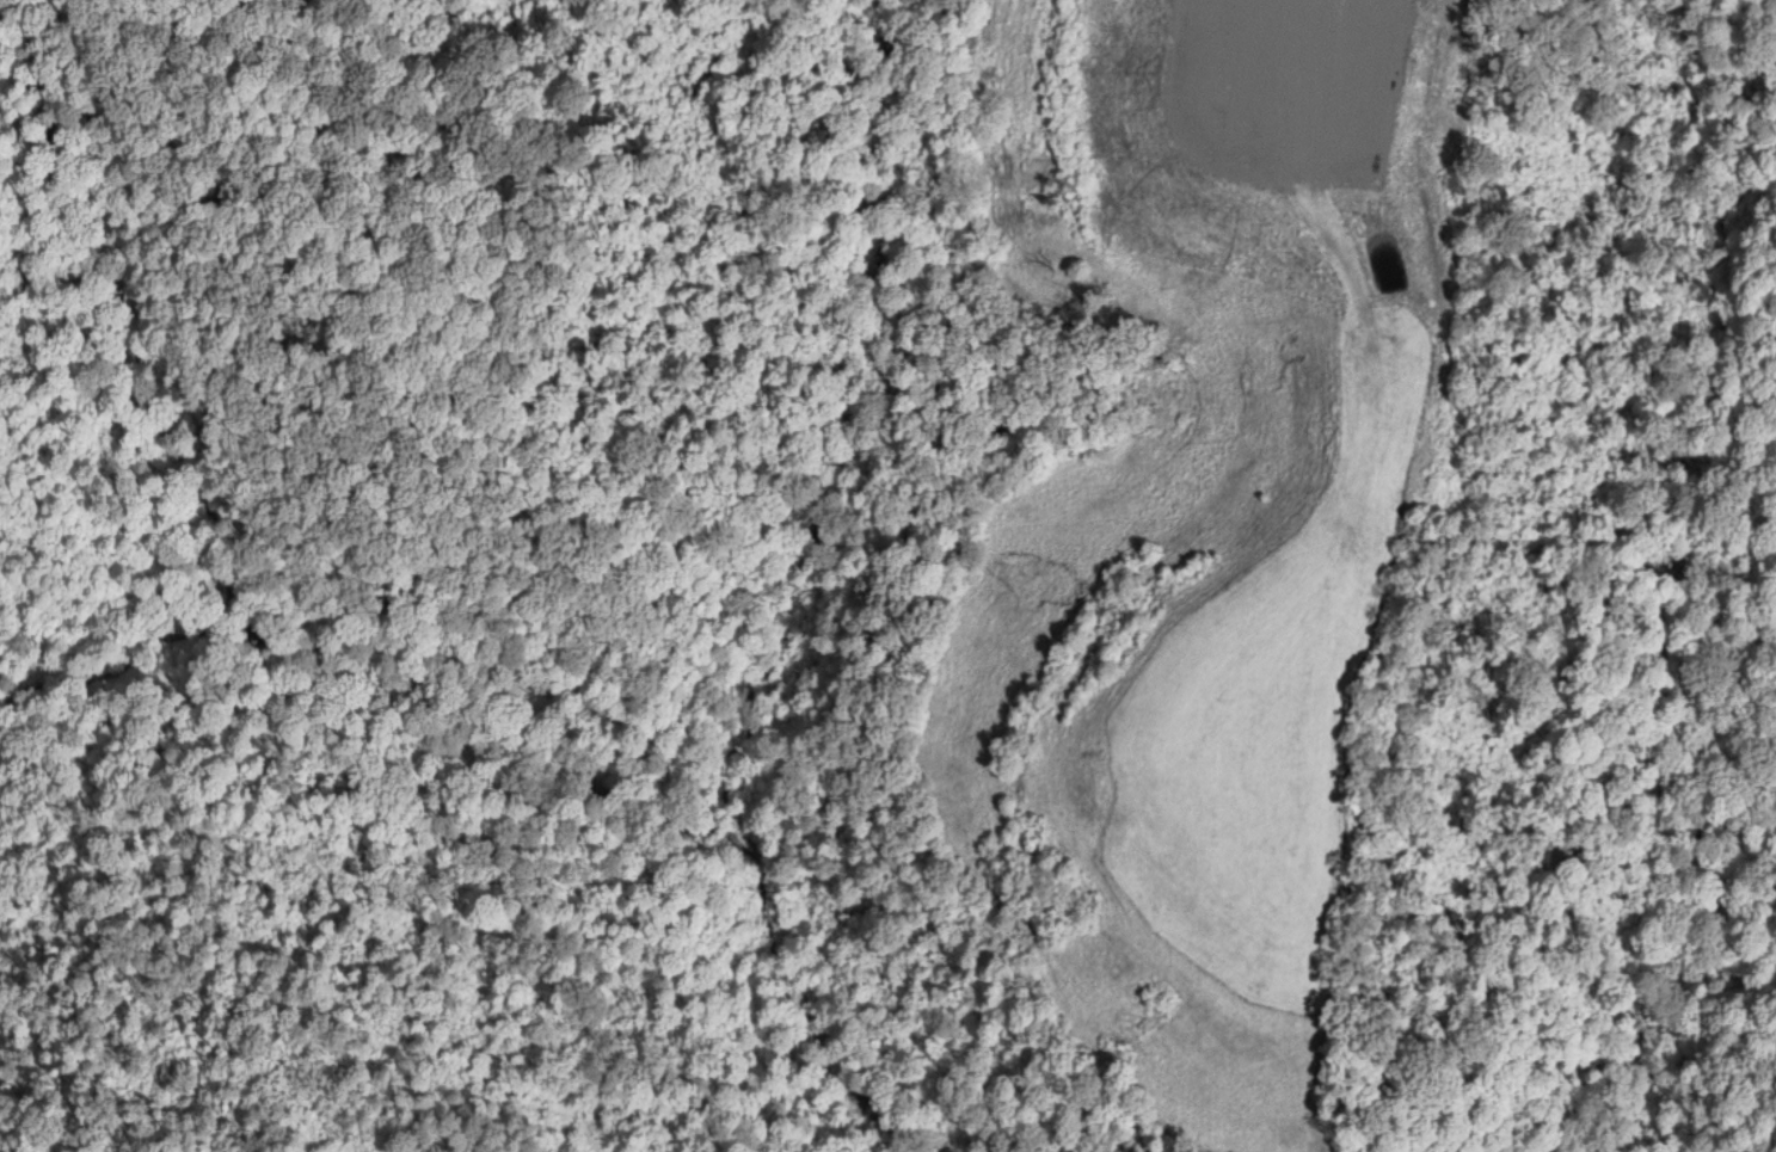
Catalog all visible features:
road: (1240, 63)

